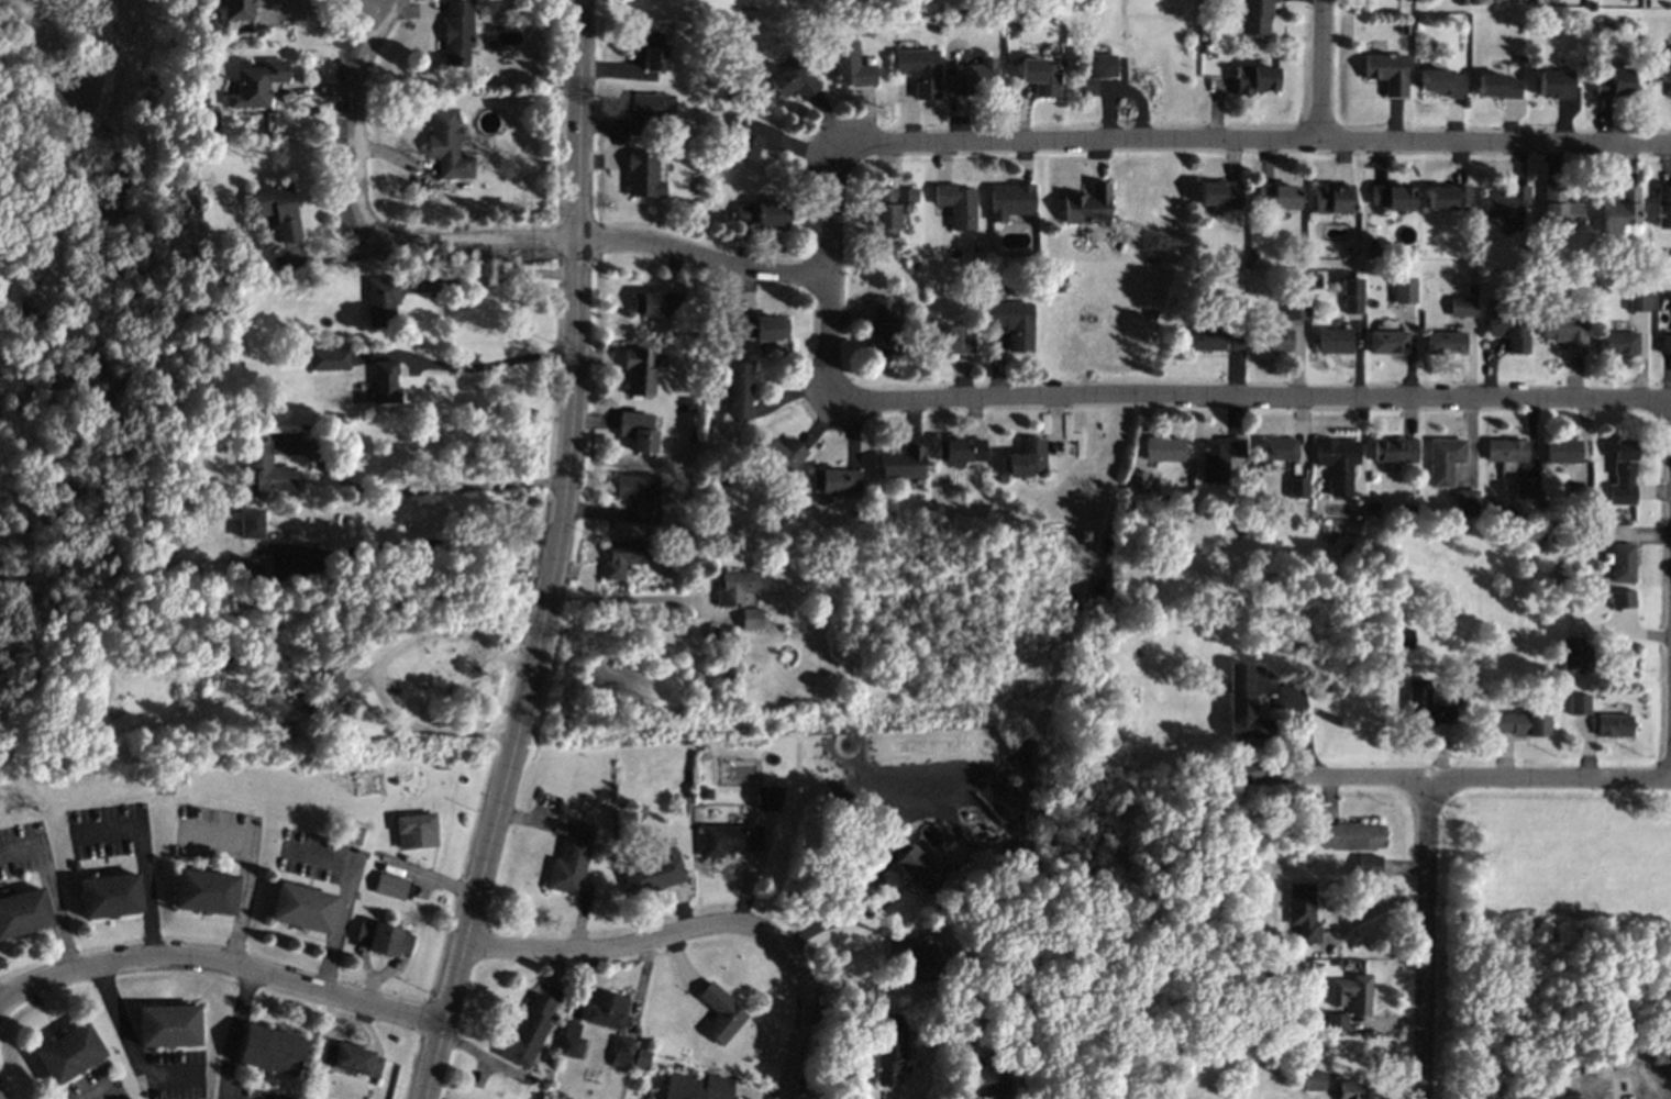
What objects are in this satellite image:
building: (236, 10)
road: (279, 11)
building: (1255, 16)
building: (456, 31)
building: (648, 49)
building: (850, 65)
building: (1660, 68)
building: (919, 70)
road: (1320, 71)
building: (1387, 71)
building: (1094, 73)
building: (974, 76)
building: (1040, 77)
building: (1255, 78)
building: (793, 81)
building: (1441, 81)
building: (255, 82)
building: (1556, 84)
building: (1614, 84)
building: (1496, 86)
building: (646, 112)
building: (752, 136)
road: (1187, 138)
building: (446, 144)
building: (642, 175)
building: (1219, 193)
building: (911, 195)
building: (1279, 196)
building: (1392, 197)
building: (1447, 197)
building: (1332, 199)
building: (1009, 200)
building: (1505, 202)
building: (956, 204)
building: (1087, 206)
building: (1663, 206)
building: (276, 208)
building: (1560, 208)
building: (1620, 210)
building: (884, 212)
building: (762, 213)
power tower: (1148, 243)
road: (480, 244)
building: (1404, 289)
building: (1351, 296)
building: (380, 301)
building: (1637, 301)
building: (655, 304)
building: (1461, 307)
building: (1295, 310)
building: (1012, 323)
building: (882, 326)
building: (762, 328)
building: (1509, 330)
building: (1565, 331)
building: (1205, 338)
building: (949, 340)
building: (1233, 340)
building: (1272, 341)
building: (1332, 341)
building: (1387, 342)
building: (1445, 342)
building: (1616, 343)
building: (1664, 344)
building: (327, 359)
road: (463, 367)
building: (638, 371)
building: (384, 382)
building: (739, 390)
road: (1185, 396)
building: (637, 431)
building: (1163, 448)
building: (1275, 448)
building: (1394, 449)
building: (959, 451)
building: (1562, 451)
building: (782, 454)
building: (1025, 458)
building: (1218, 458)
building: (1443, 460)
building: (900, 463)
building: (1337, 463)
building: (267, 468)
building: (1623, 474)
building: (834, 481)
building: (1137, 481)
building: (1296, 487)
building: (1524, 488)
road: (413, 489)
building: (639, 496)
building: (1465, 502)
building: (250, 523)
road: (407, 544)
road: (552, 556)
building: (623, 557)
building: (278, 569)
building: (242, 570)
building: (734, 587)
road: (622, 599)
building: (1622, 599)
building: (750, 619)
building: (1402, 637)
building: (1571, 654)
road: (375, 666)
building: (329, 691)
building: (1241, 704)
building: (1425, 704)
building: (1579, 704)
road: (1303, 724)
building: (1521, 724)
building: (1613, 725)
power tower: (1015, 729)
road: (1442, 782)
power tower: (367, 787)
building: (768, 798)
building: (416, 831)
building: (354, 834)
building: (1350, 835)
building: (729, 840)
road: (145, 858)
building: (569, 862)
building: (910, 865)
building: (1368, 866)
building: (654, 872)
road: (245, 873)
building: (389, 886)
road: (855, 886)
building: (204, 891)
road: (51, 893)
building: (109, 896)
road: (345, 899)
building: (302, 908)
building: (22, 912)
building: (1302, 912)
road: (704, 924)
building: (383, 940)
road: (1424, 941)
building: (911, 957)
road: (220, 961)
building: (1352, 993)
building: (605, 1009)
building: (720, 1013)
building: (1336, 1022)
building: (168, 1025)
building: (527, 1032)
road: (232, 1034)
building: (571, 1041)
road: (133, 1042)
building: (890, 1047)
building: (269, 1050)
building: (622, 1052)
building: (68, 1053)
building: (641, 1058)
building: (351, 1059)
building: (986, 1080)
building: (1313, 1080)
building: (696, 1087)
building: (1350, 1090)
road: (101, 1091)
road: (1625, 1094)
road: (1615, 1097)
road: (0, 1098)

